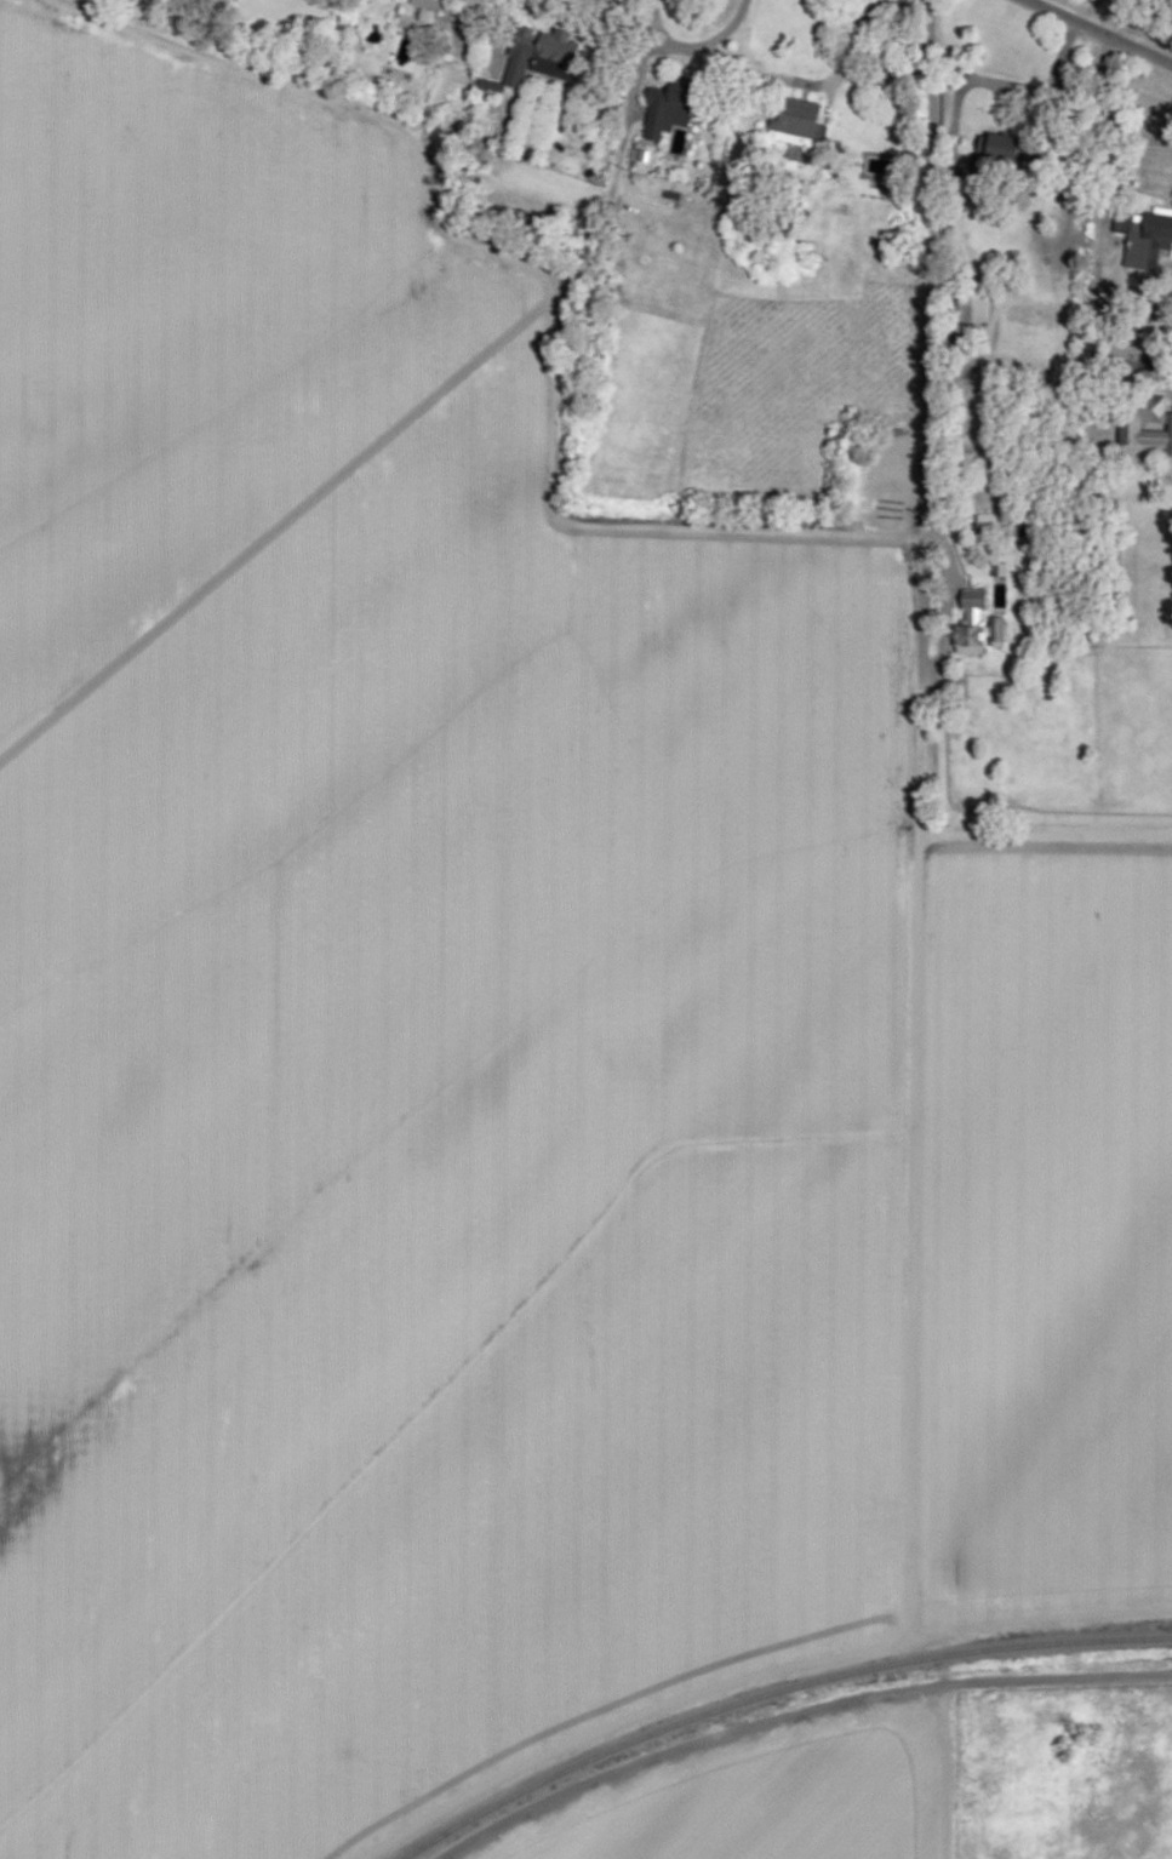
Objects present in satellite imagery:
building: (438, 12)
road: (1097, 34)
building: (539, 53)
road: (828, 74)
building: (665, 107)
building: (795, 120)
road: (1127, 143)
building: (991, 156)
building: (1147, 234)
building: (971, 302)
crop: (194, 330)
building: (1153, 408)
road: (555, 424)
building: (1168, 437)
building: (897, 498)
road: (913, 1110)
crop: (441, 1151)
crop: (1048, 1220)
railway: (771, 1693)
road: (795, 1718)

